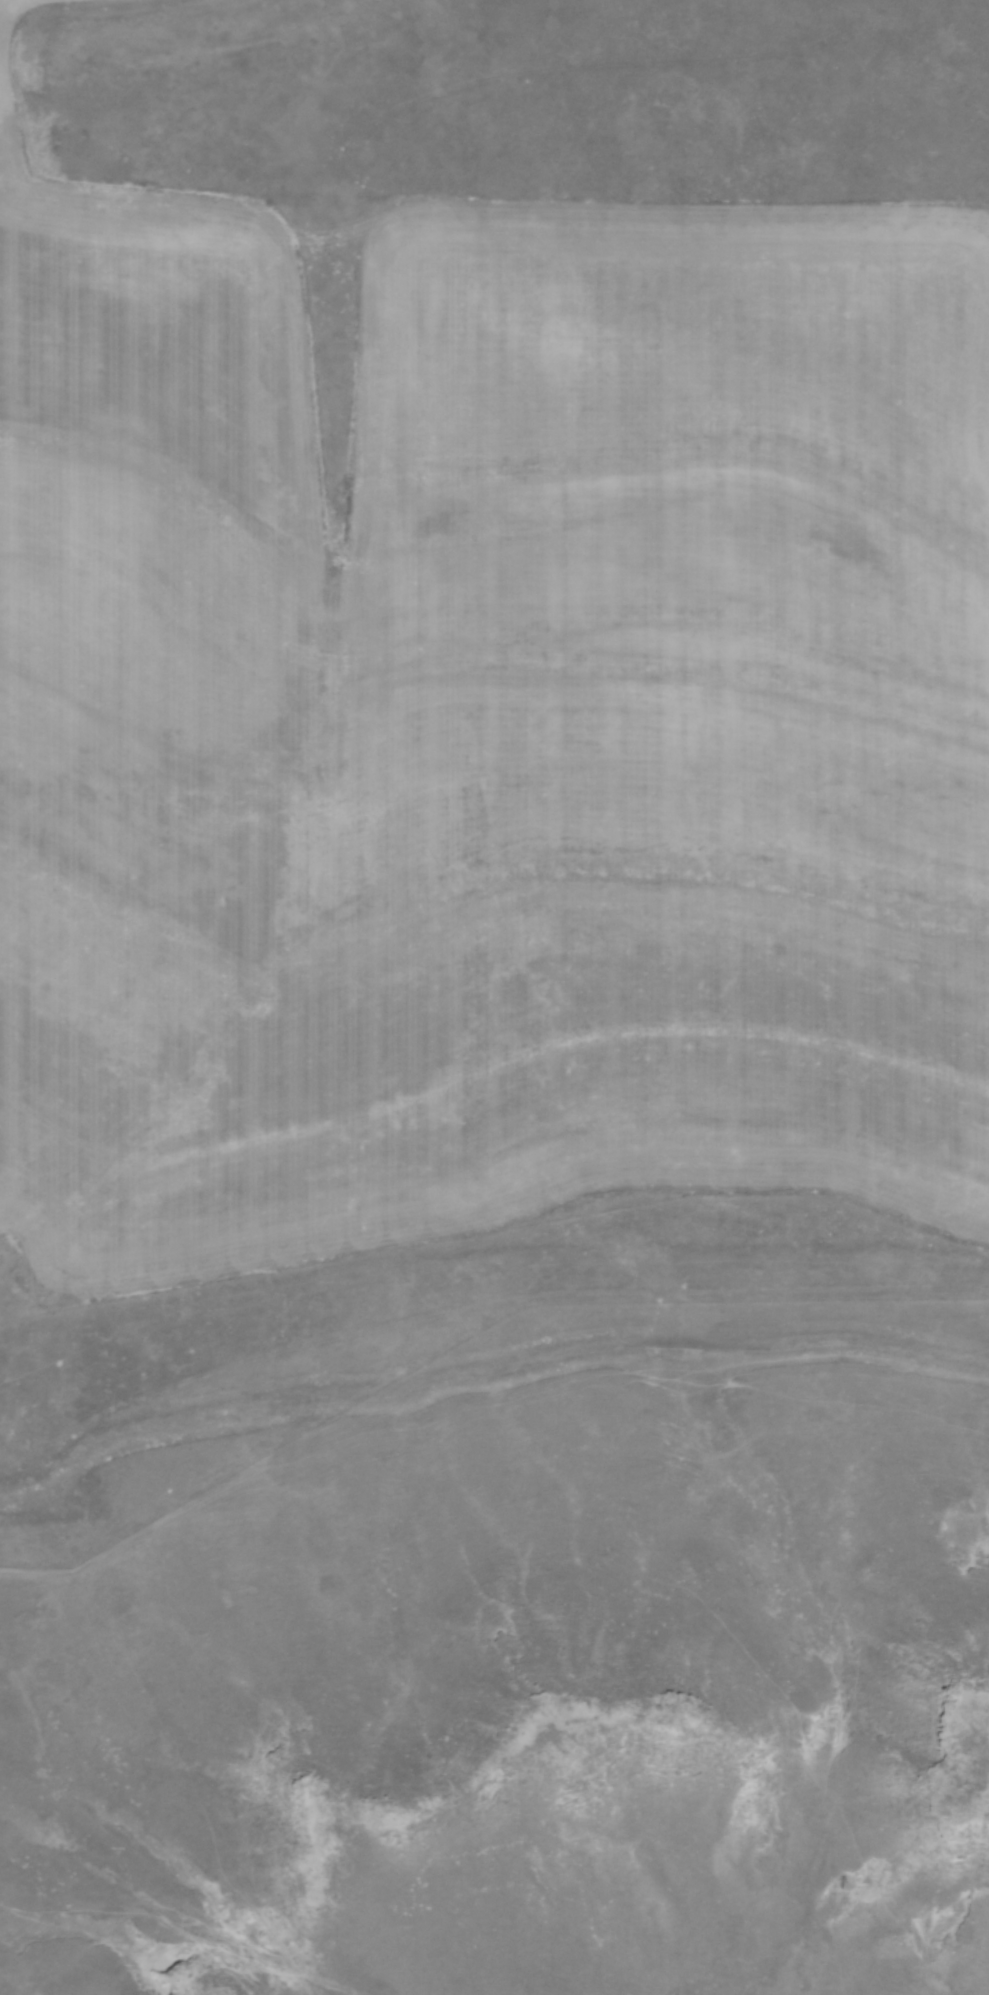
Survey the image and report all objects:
crop: (485, 723)

